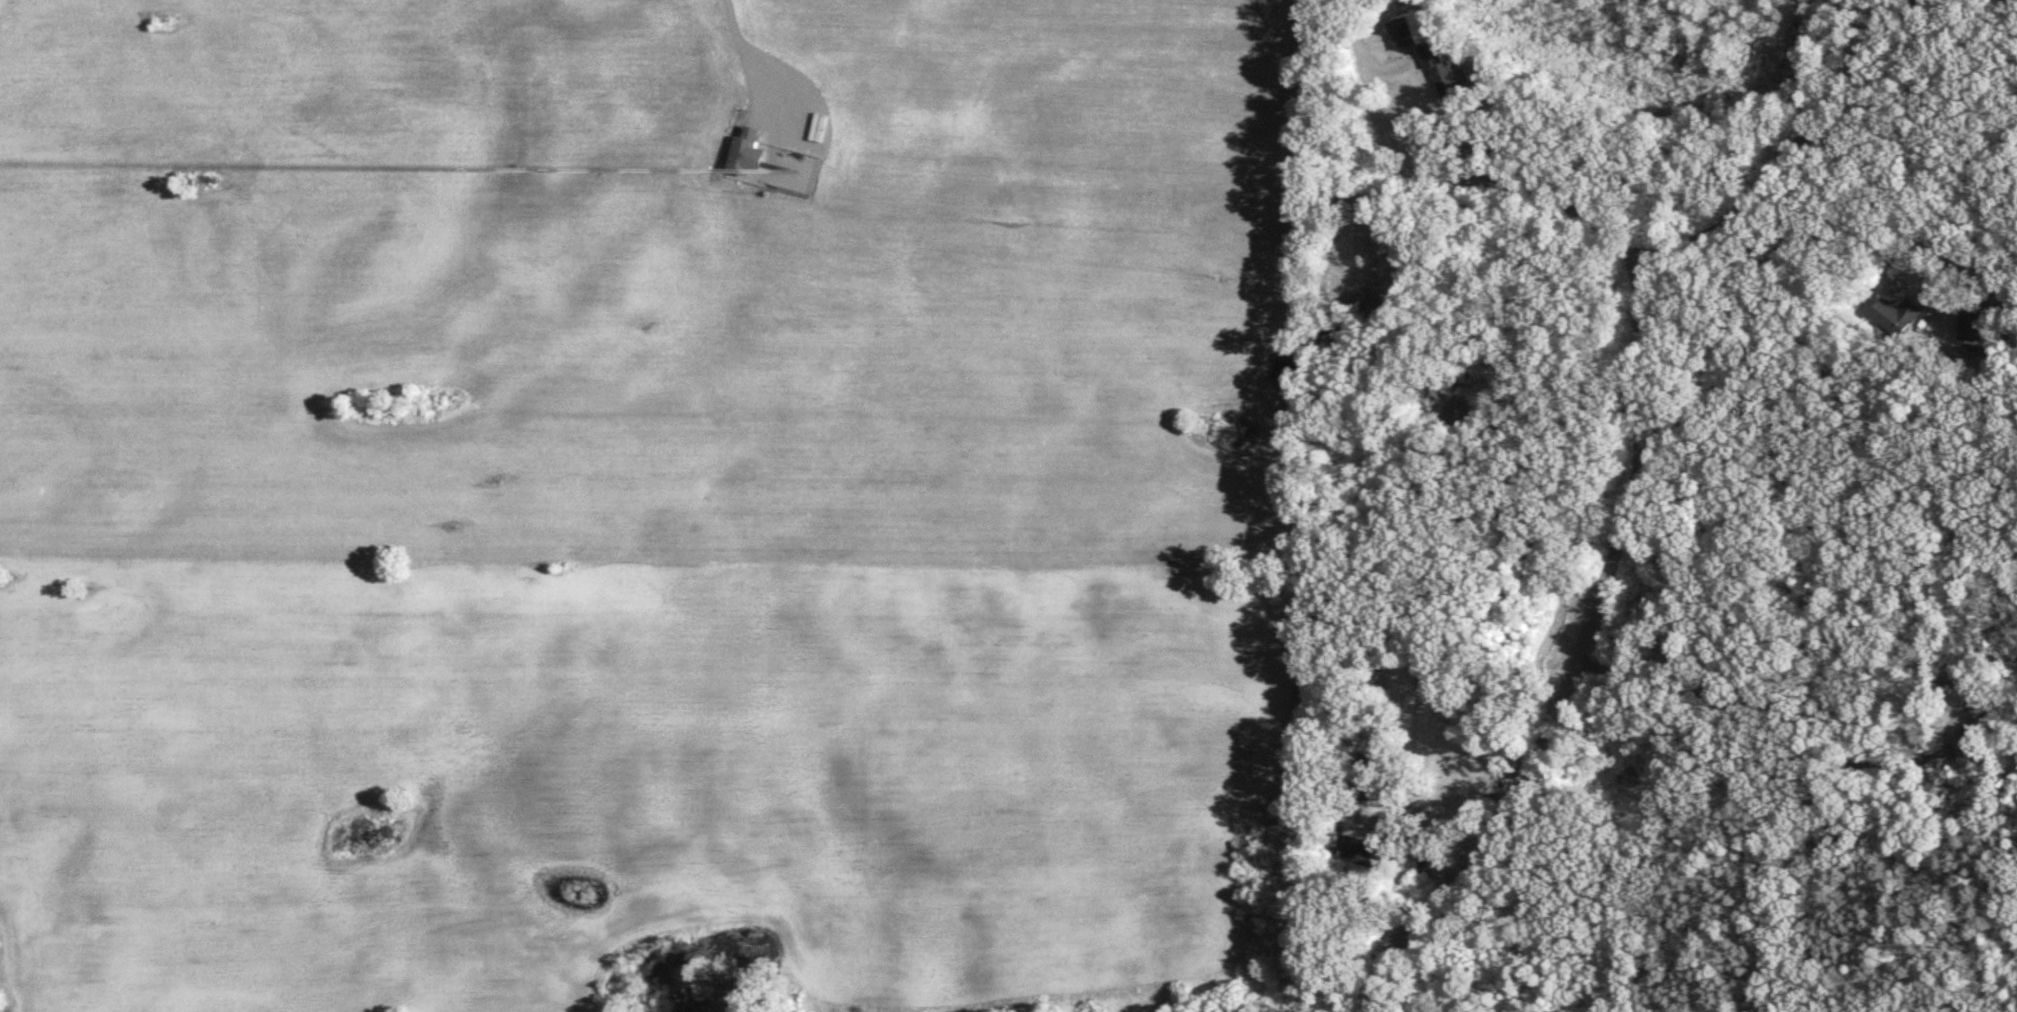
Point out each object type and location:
building: (1406, 37)
road: (742, 56)
building: (1445, 81)
road: (1787, 149)
building: (746, 156)
road: (1438, 178)
road: (1828, 241)
building: (1888, 320)
road: (1573, 666)
building: (1373, 778)
building: (1364, 854)

